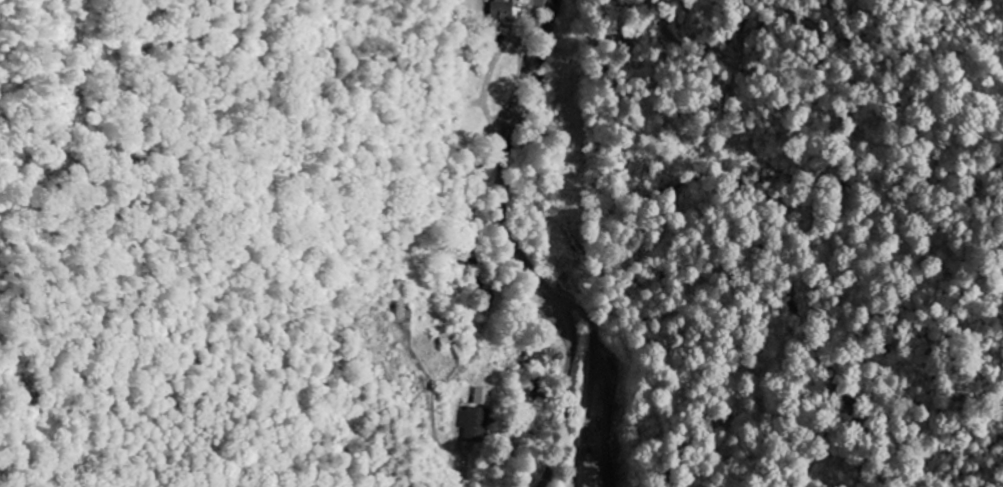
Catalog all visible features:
building: (503, 11)
road: (518, 249)
building: (482, 397)
building: (475, 425)
building: (589, 472)

